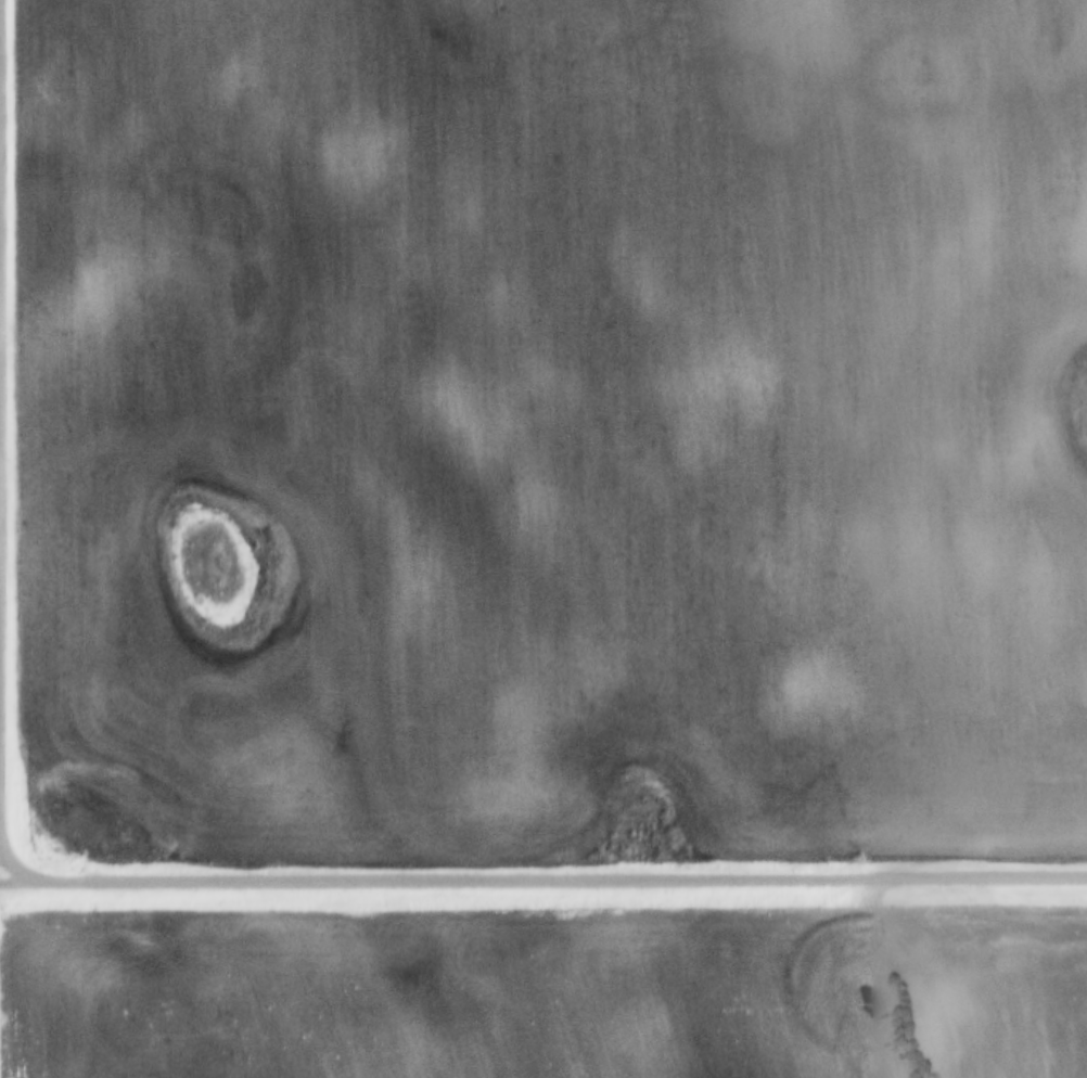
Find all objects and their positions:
road: (0, 844)
road: (543, 873)
road: (0, 878)

